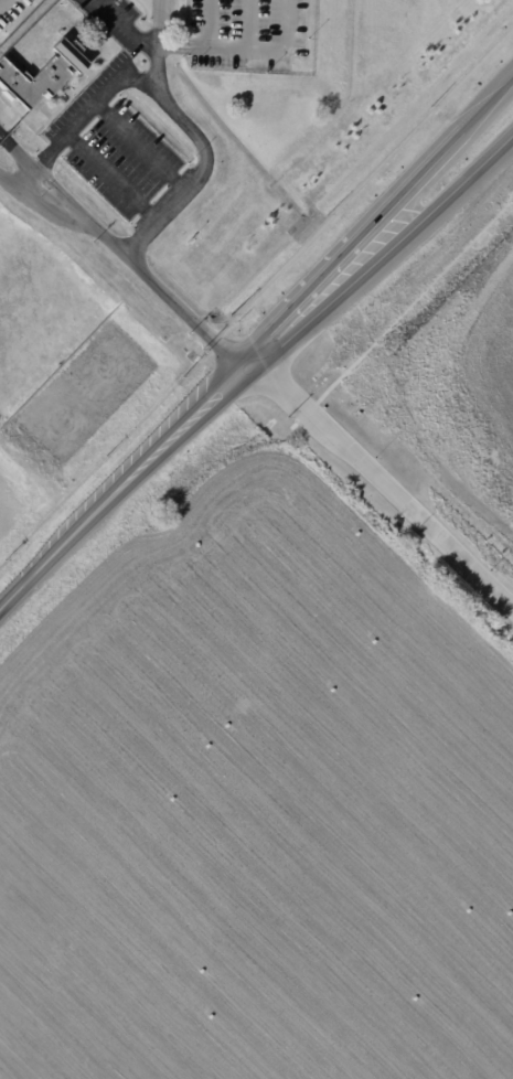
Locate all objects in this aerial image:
road: (210, 22)
road: (126, 25)
road: (246, 46)
building: (43, 75)
road: (92, 106)
road: (489, 106)
road: (195, 136)
road: (143, 145)
road: (114, 175)
road: (426, 178)
road: (457, 188)
road: (62, 193)
road: (29, 196)
road: (311, 292)
road: (180, 307)
road: (381, 471)
road: (117, 484)

